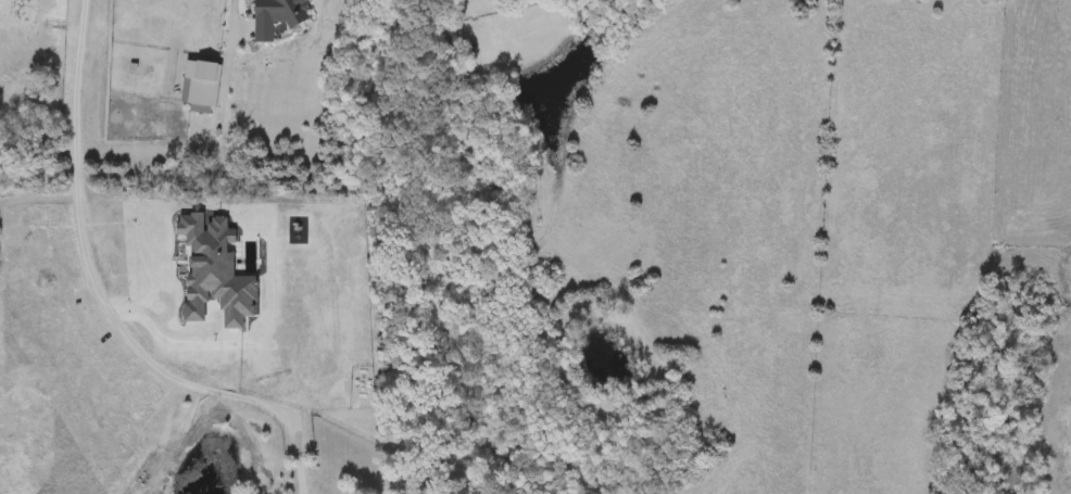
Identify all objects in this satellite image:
road: (226, 65)
building: (459, 79)
road: (89, 267)
road: (300, 453)

